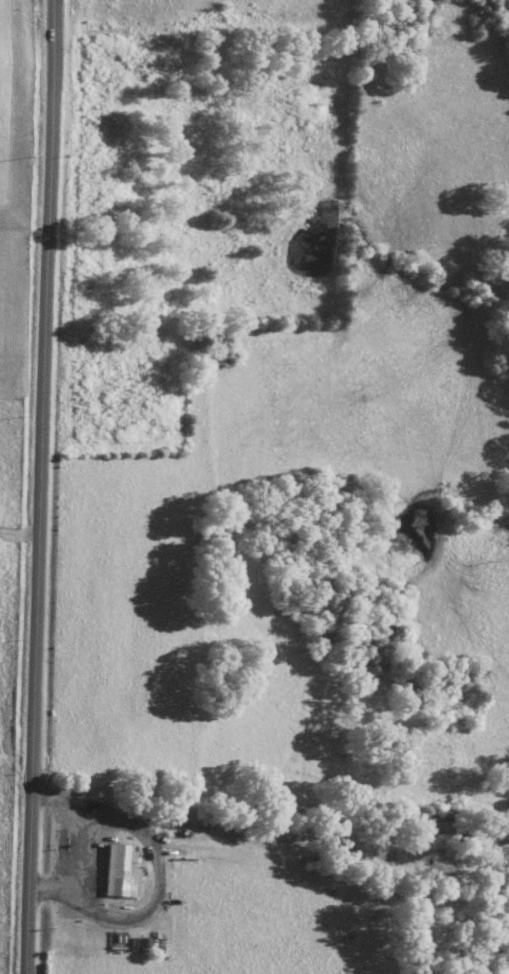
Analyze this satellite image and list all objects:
road: (44, 487)
road: (21, 537)
road: (237, 806)
building: (506, 813)
building: (444, 866)
building: (121, 871)

